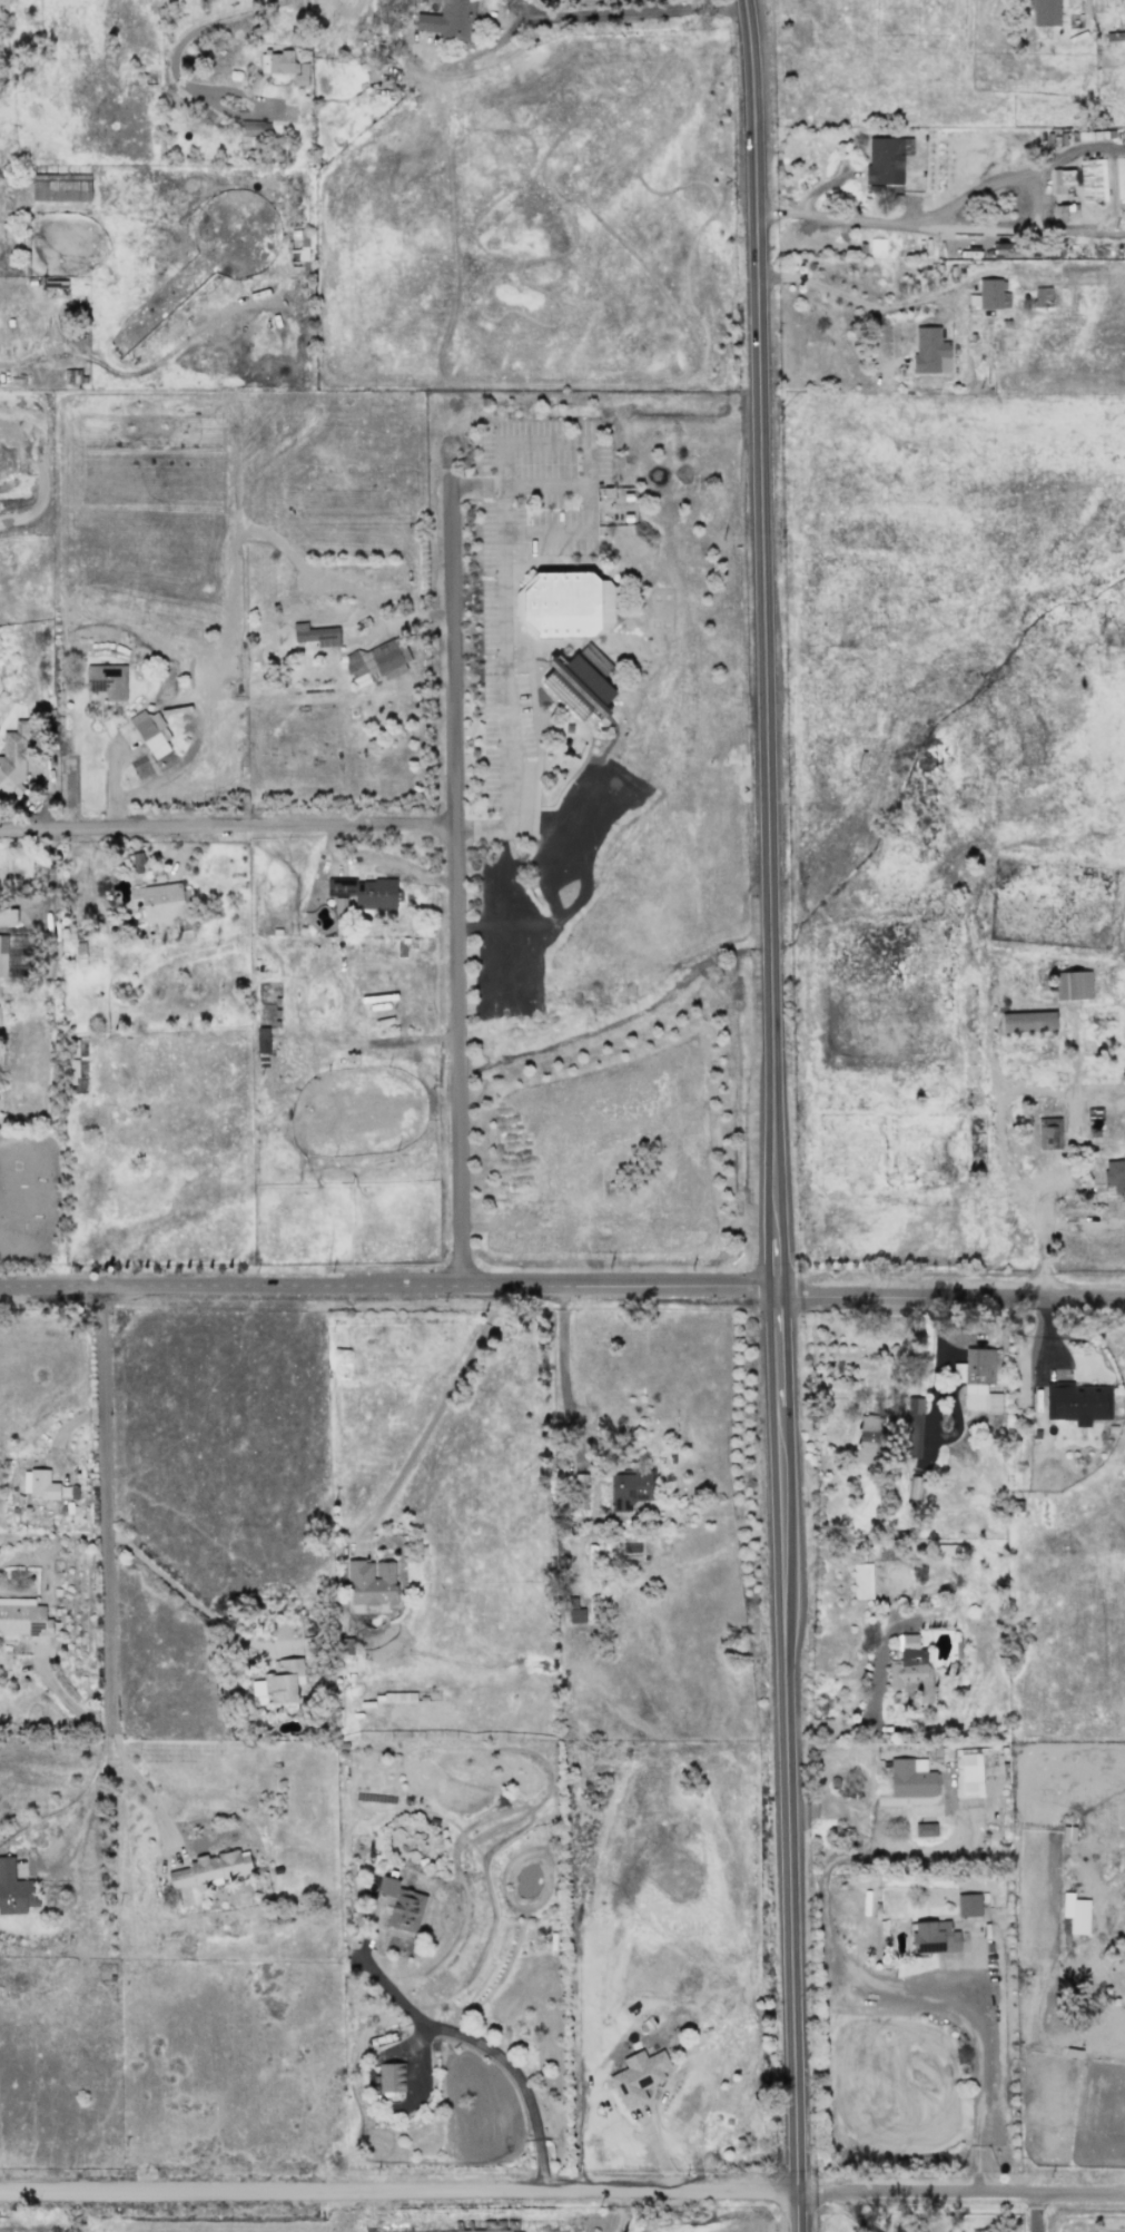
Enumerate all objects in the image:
building: (1045, 12)
road: (588, 14)
building: (447, 20)
road: (185, 39)
building: (284, 66)
building: (254, 129)
building: (886, 159)
building: (1092, 180)
building: (1062, 181)
building: (60, 187)
building: (1063, 213)
road: (969, 229)
building: (993, 294)
building: (1042, 296)
road: (853, 299)
building: (930, 351)
road: (545, 479)
road: (477, 480)
road: (505, 520)
building: (564, 604)
road: (766, 606)
building: (316, 635)
building: (377, 662)
building: (107, 681)
building: (151, 732)
building: (12, 763)
road: (110, 781)
road: (246, 822)
road: (19, 828)
road: (456, 835)
road: (382, 859)
building: (136, 863)
building: (365, 892)
building: (160, 902)
building: (8, 916)
building: (2, 955)
building: (1072, 985)
building: (1027, 1022)
building: (261, 1040)
road: (1008, 1117)
building: (1048, 1133)
building: (1114, 1174)
road: (777, 1249)
road: (562, 1287)
road: (780, 1346)
road: (936, 1369)
building: (977, 1379)
building: (1078, 1403)
road: (434, 1408)
road: (569, 1410)
building: (912, 1427)
building: (871, 1439)
building: (38, 1484)
building: (630, 1489)
road: (106, 1505)
building: (950, 1553)
building: (861, 1581)
building: (368, 1589)
road: (188, 1591)
building: (564, 1611)
building: (574, 1612)
building: (22, 1618)
building: (344, 1646)
building: (911, 1669)
building: (277, 1683)
road: (871, 1708)
road: (815, 1730)
building: (969, 1777)
building: (910, 1778)
road: (138, 1784)
road: (869, 1791)
road: (87, 1802)
road: (791, 1818)
building: (925, 1829)
building: (211, 1868)
building: (13, 1890)
building: (401, 1905)
building: (968, 1905)
building: (1075, 1914)
building: (934, 1937)
road: (936, 1990)
road: (483, 2044)
building: (638, 2076)
building: (391, 2077)
road: (833, 2132)
road: (562, 2193)
road: (619, 2212)
road: (1040, 2213)
road: (856, 2214)

